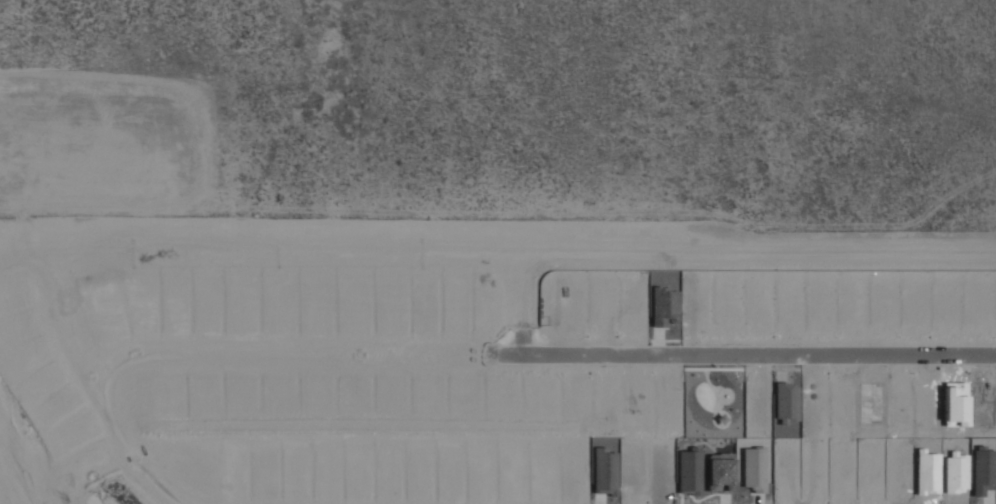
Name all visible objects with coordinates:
road: (498, 240)
road: (531, 297)
road: (543, 354)
road: (102, 387)
road: (20, 477)

